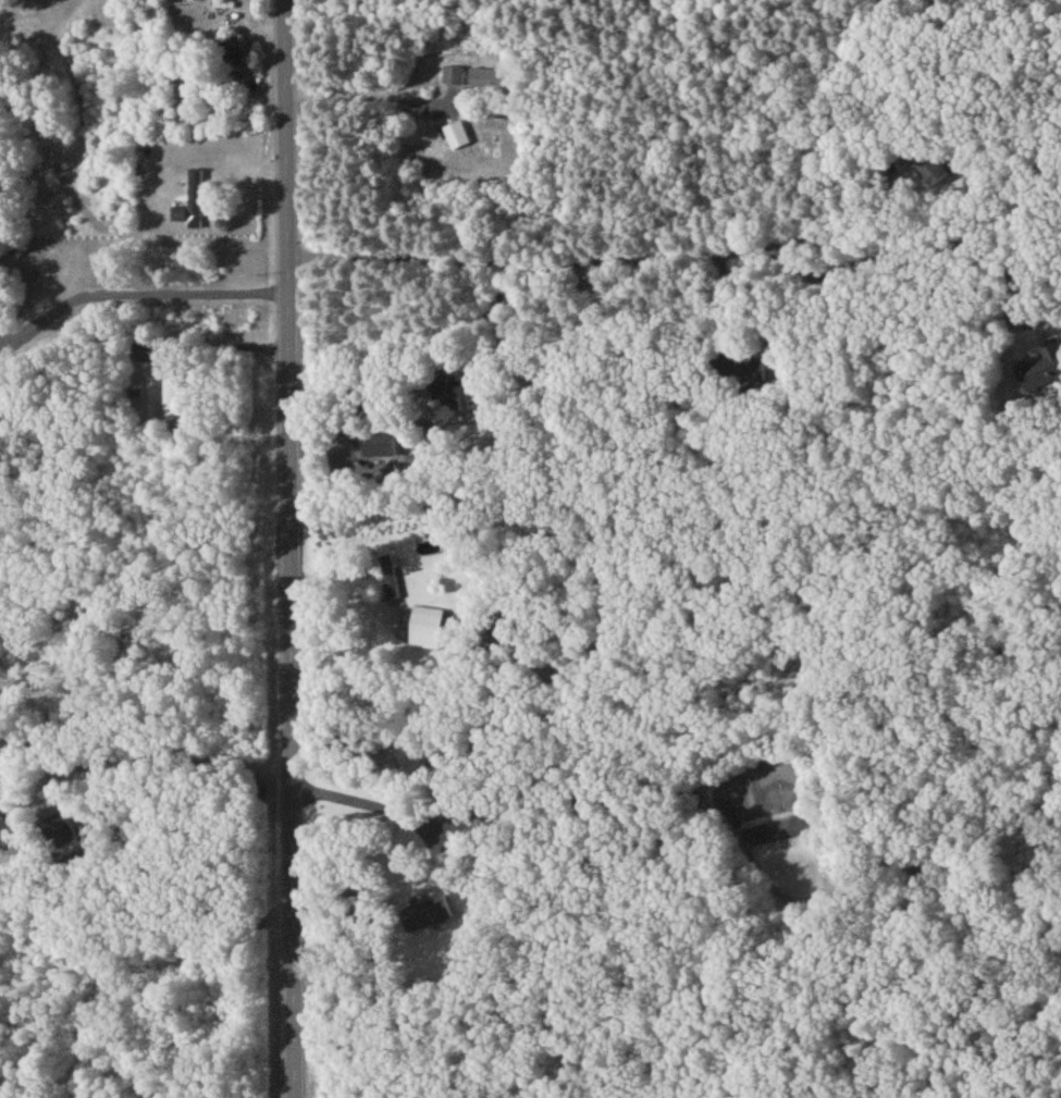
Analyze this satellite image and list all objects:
building: (226, 60)
building: (454, 78)
building: (489, 82)
road: (360, 100)
building: (456, 138)
building: (933, 168)
building: (188, 212)
road: (132, 229)
road: (632, 252)
road: (135, 275)
building: (140, 356)
building: (1043, 371)
building: (457, 396)
building: (171, 400)
building: (378, 448)
road: (288, 548)
road: (346, 580)
building: (394, 580)
building: (427, 631)
road: (184, 741)
road: (377, 810)
building: (5, 837)
building: (66, 839)
building: (427, 915)

